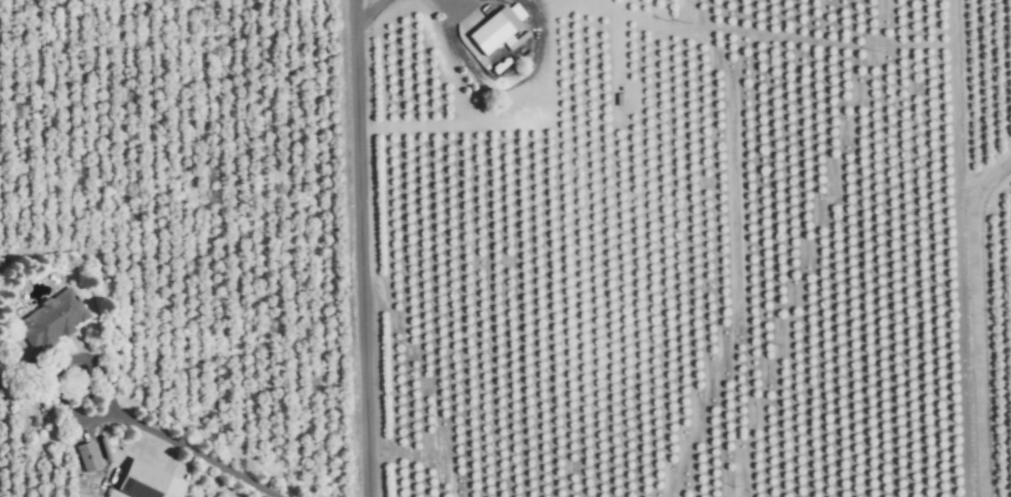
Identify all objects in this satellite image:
road: (367, 12)
building: (495, 27)
building: (597, 168)
building: (599, 224)
road: (356, 248)
crop: (175, 250)
road: (971, 318)
building: (56, 320)
building: (542, 320)
crop: (989, 339)
road: (55, 369)
building: (607, 439)
road: (198, 454)
building: (90, 458)
building: (148, 481)

